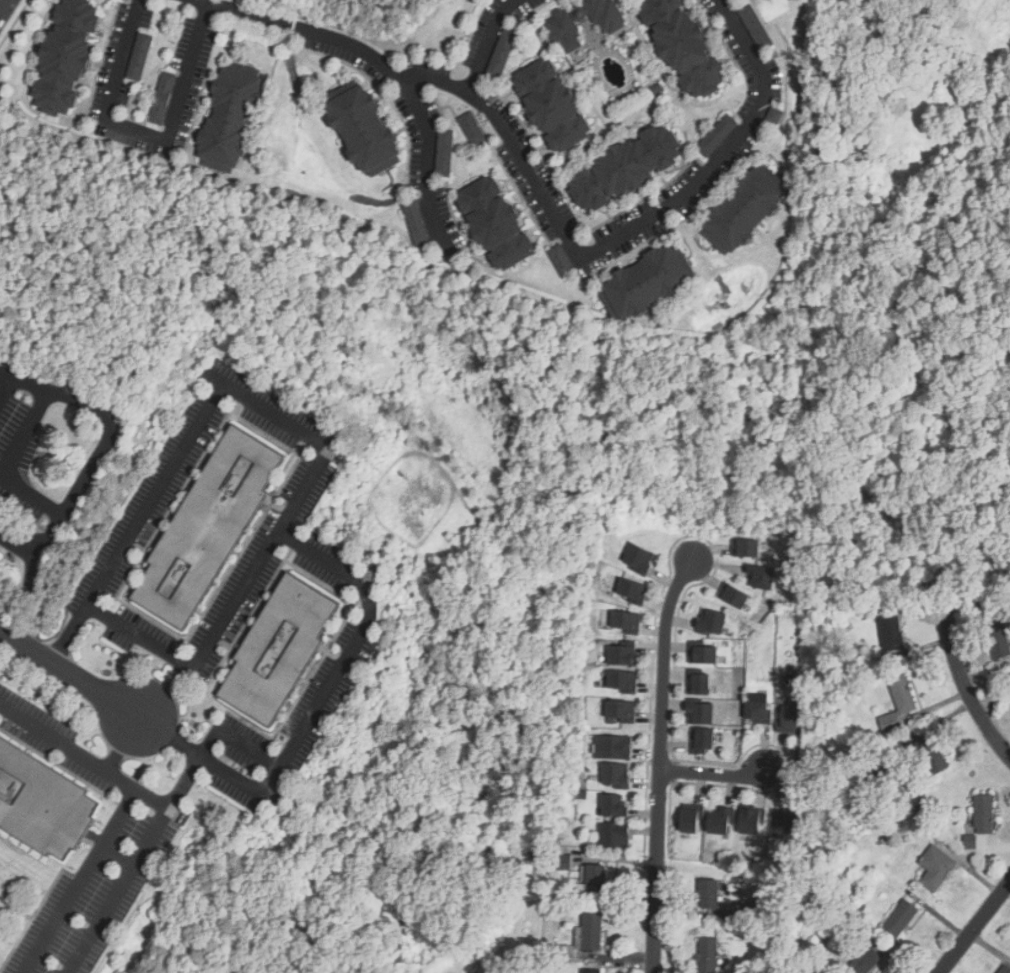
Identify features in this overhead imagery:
road: (3, 6)
building: (755, 27)
building: (563, 31)
road: (486, 43)
building: (689, 44)
building: (504, 53)
building: (139, 57)
building: (74, 58)
road: (385, 65)
road: (436, 80)
building: (165, 97)
building: (552, 105)
building: (237, 121)
building: (472, 129)
building: (371, 130)
road: (145, 131)
building: (720, 134)
building: (444, 153)
building: (626, 167)
building: (748, 210)
road: (648, 219)
building: (501, 221)
building: (417, 222)
building: (561, 260)
building: (652, 282)
road: (7, 387)
road: (25, 432)
road: (105, 448)
road: (296, 500)
building: (0, 508)
building: (209, 524)
building: (746, 547)
building: (1, 556)
building: (639, 558)
building: (762, 576)
building: (633, 590)
building: (733, 595)
road: (676, 596)
road: (235, 598)
building: (627, 621)
building: (711, 621)
building: (891, 632)
building: (1000, 641)
building: (280, 646)
road: (165, 652)
building: (620, 654)
building: (704, 655)
road: (69, 673)
building: (622, 681)
building: (700, 684)
road: (963, 685)
building: (902, 692)
building: (757, 709)
building: (620, 710)
building: (700, 711)
building: (790, 718)
building: (890, 722)
building: (702, 738)
road: (235, 739)
building: (612, 746)
road: (79, 750)
building: (930, 755)
building: (615, 774)
road: (715, 774)
road: (137, 785)
building: (45, 801)
road: (659, 803)
building: (613, 804)
building: (984, 813)
building: (686, 819)
building: (715, 820)
building: (745, 820)
building: (781, 824)
building: (613, 835)
road: (133, 863)
building: (936, 867)
road: (79, 879)
building: (595, 880)
building: (709, 893)
building: (900, 918)
road: (975, 928)
building: (591, 930)
building: (707, 955)
building: (863, 961)
building: (1004, 969)
building: (591, 971)

